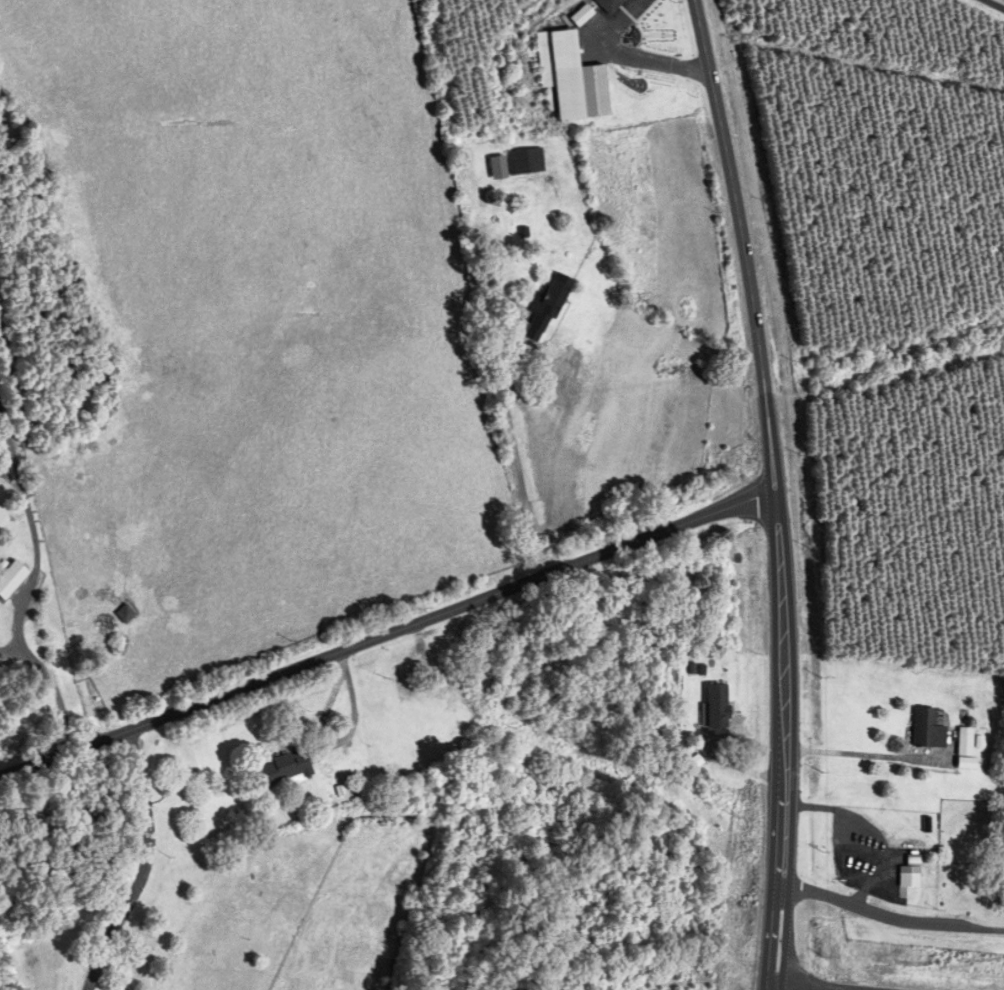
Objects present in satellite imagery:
road: (1003, 0)
building: (605, 5)
building: (578, 16)
road: (629, 55)
building: (567, 78)
building: (541, 309)
road: (769, 444)
road: (518, 467)
road: (27, 591)
building: (126, 615)
road: (387, 634)
building: (459, 684)
building: (717, 705)
building: (924, 731)
road: (871, 753)
building: (284, 769)
road: (143, 865)
building: (1001, 872)
building: (910, 873)
road: (890, 920)
road: (769, 940)
road: (788, 941)

